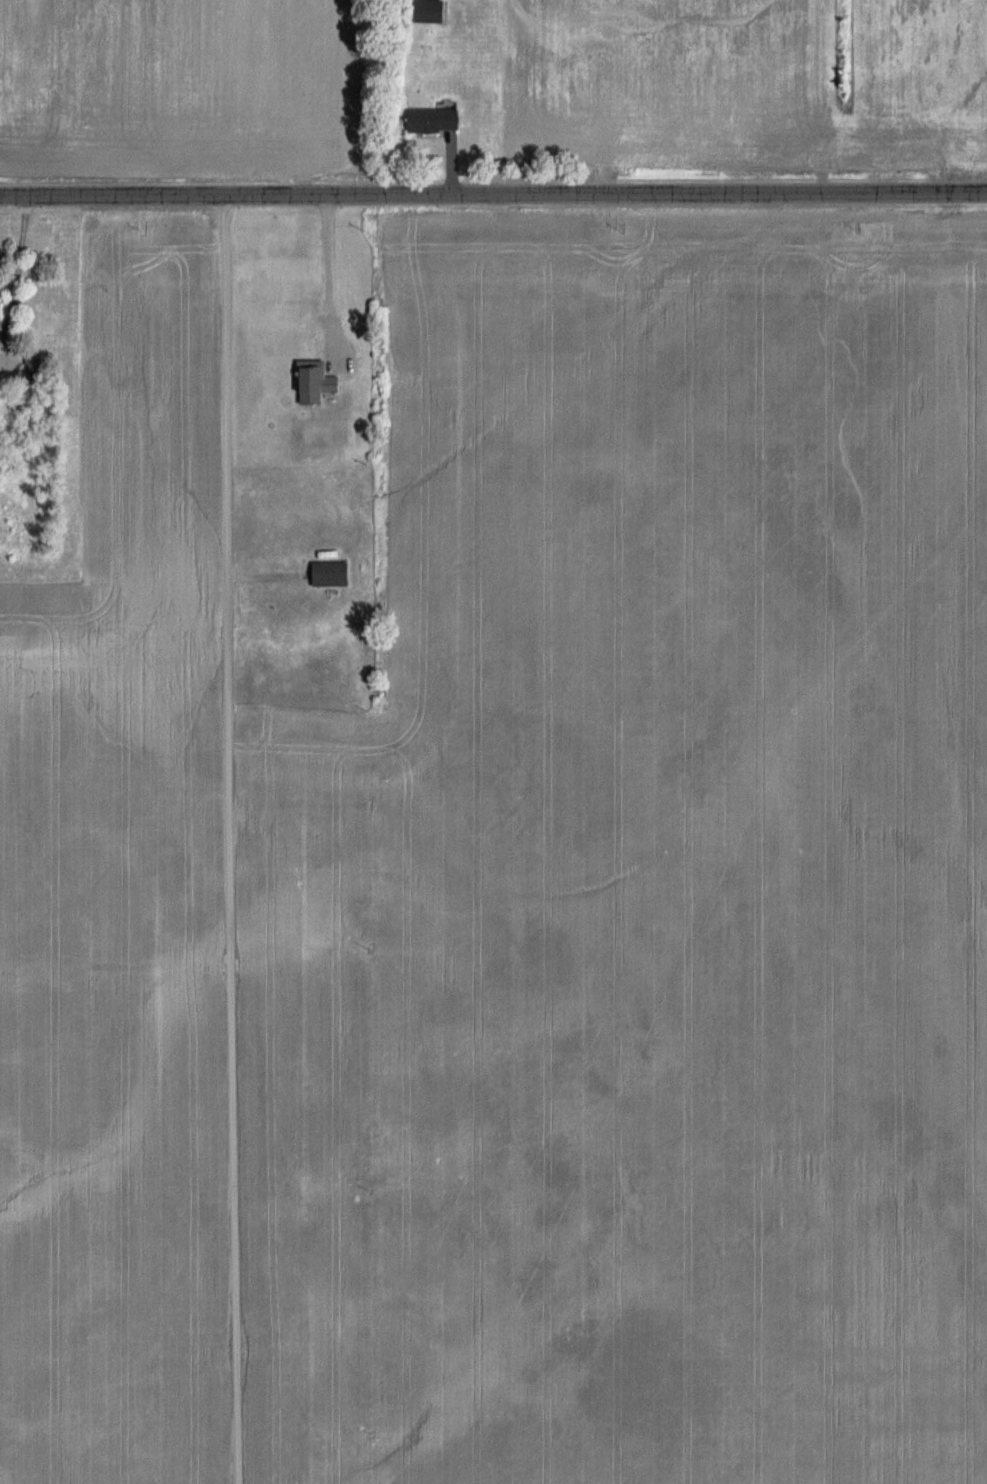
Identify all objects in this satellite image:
building: (431, 11)
crop: (493, 93)
building: (435, 121)
road: (493, 192)
road: (323, 268)
building: (1, 312)
building: (317, 383)
building: (332, 575)

